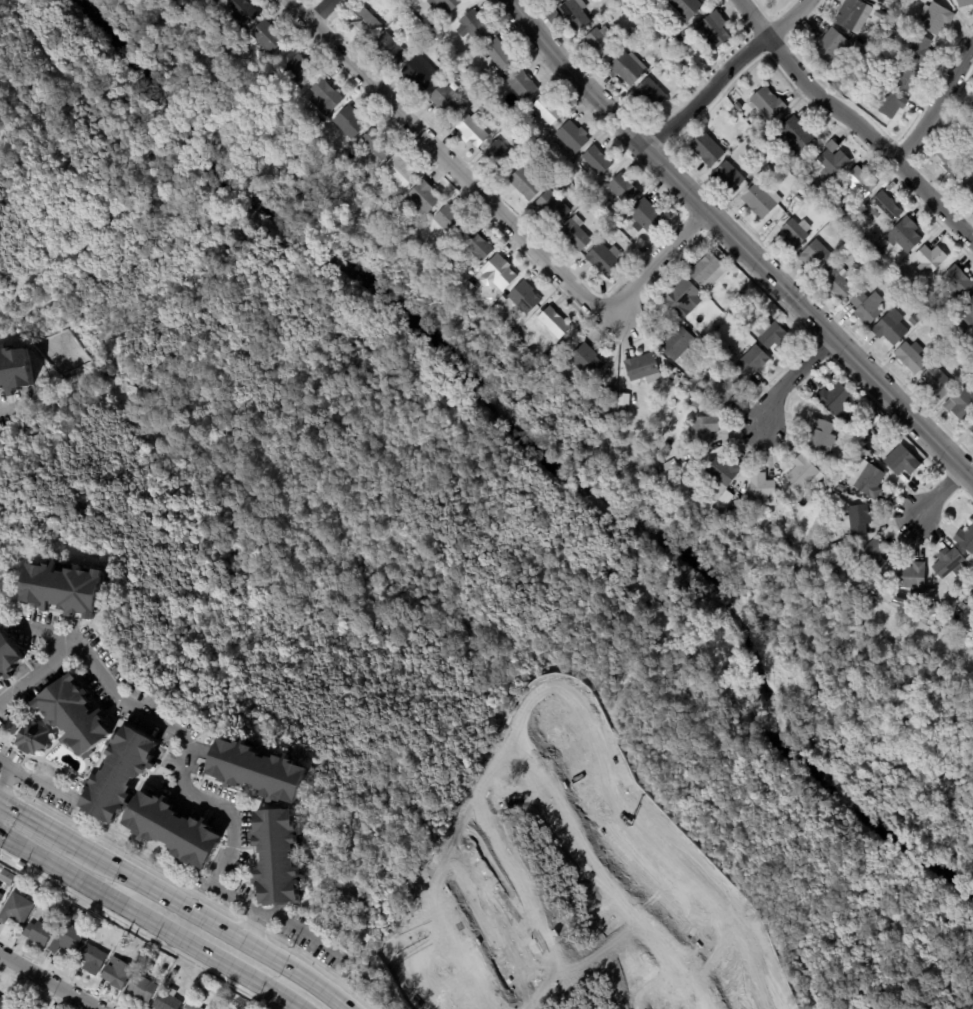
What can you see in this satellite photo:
building: (659, 0)
building: (214, 1)
building: (392, 1)
building: (553, 1)
building: (896, 1)
building: (964, 3)
building: (444, 4)
building: (682, 9)
road: (326, 10)
building: (574, 14)
building: (240, 15)
building: (879, 15)
building: (852, 16)
building: (934, 19)
building: (364, 22)
building: (434, 26)
building: (472, 26)
building: (617, 27)
building: (652, 27)
building: (632, 31)
building: (714, 31)
building: (265, 38)
building: (682, 40)
building: (875, 41)
building: (430, 42)
building: (885, 42)
building: (599, 43)
building: (677, 44)
building: (829, 47)
building: (389, 48)
building: (920, 51)
building: (675, 52)
building: (855, 53)
building: (497, 54)
building: (678, 59)
building: (442, 60)
building: (627, 69)
building: (269, 72)
building: (298, 72)
building: (420, 73)
road: (723, 79)
building: (907, 80)
building: (485, 84)
building: (521, 85)
building: (454, 88)
building: (972, 89)
building: (650, 94)
building: (324, 97)
building: (447, 101)
building: (767, 103)
road: (935, 104)
building: (891, 105)
building: (738, 106)
building: (546, 110)
road: (855, 118)
building: (499, 121)
building: (316, 122)
building: (347, 122)
building: (471, 129)
building: (537, 135)
building: (793, 135)
building: (571, 138)
building: (765, 141)
building: (376, 145)
building: (528, 146)
building: (706, 149)
building: (500, 156)
building: (951, 156)
building: (597, 160)
building: (829, 162)
building: (774, 166)
building: (399, 167)
building: (566, 172)
building: (729, 175)
building: (965, 180)
building: (859, 182)
building: (524, 183)
building: (623, 189)
building: (801, 192)
building: (422, 197)
building: (798, 199)
building: (758, 201)
building: (886, 206)
building: (551, 207)
road: (501, 211)
building: (645, 216)
building: (839, 220)
building: (449, 221)
building: (853, 225)
building: (574, 234)
building: (794, 234)
building: (904, 235)
building: (655, 237)
building: (863, 239)
building: (475, 244)
road: (739, 244)
building: (878, 252)
building: (815, 257)
building: (867, 257)
building: (603, 259)
building: (929, 260)
building: (870, 263)
building: (708, 271)
building: (497, 274)
building: (878, 276)
building: (957, 281)
building: (837, 283)
building: (915, 294)
building: (682, 297)
building: (523, 298)
building: (738, 301)
building: (866, 307)
building: (966, 312)
building: (913, 320)
building: (553, 322)
building: (946, 325)
building: (889, 327)
building: (703, 336)
building: (772, 336)
building: (676, 344)
building: (953, 344)
building: (941, 346)
building: (959, 352)
building: (547, 356)
building: (710, 357)
building: (910, 357)
building: (556, 358)
building: (585, 361)
building: (751, 361)
building: (642, 368)
building: (14, 370)
building: (704, 377)
road: (789, 381)
building: (702, 382)
building: (938, 382)
building: (722, 389)
building: (835, 400)
building: (960, 403)
building: (970, 427)
building: (705, 428)
building: (880, 428)
building: (854, 431)
building: (873, 433)
building: (819, 436)
building: (868, 437)
building: (901, 462)
building: (801, 473)
building: (721, 477)
building: (870, 482)
building: (828, 484)
building: (761, 487)
building: (840, 487)
building: (824, 490)
building: (728, 494)
road: (935, 498)
building: (708, 501)
building: (729, 513)
building: (856, 520)
building: (845, 533)
building: (783, 539)
building: (965, 539)
building: (871, 556)
building: (949, 565)
building: (911, 579)
building: (61, 590)
building: (971, 595)
building: (899, 598)
building: (908, 601)
building: (944, 608)
building: (931, 609)
road: (35, 632)
building: (8, 657)
building: (73, 716)
building: (13, 731)
building: (31, 739)
road: (12, 765)
road: (186, 765)
building: (256, 772)
building: (118, 774)
road: (40, 781)
road: (3, 783)
road: (33, 818)
building: (171, 831)
building: (275, 857)
building: (5, 876)
building: (0, 888)
building: (35, 892)
building: (0, 895)
building: (15, 908)
road: (258, 915)
road: (209, 919)
road: (150, 921)
road: (251, 930)
building: (38, 932)
building: (66, 939)
building: (90, 958)
building: (175, 970)
building: (116, 973)
road: (44, 983)
building: (141, 989)
building: (6, 1001)
building: (166, 1001)
building: (21, 1006)
building: (190, 1006)

